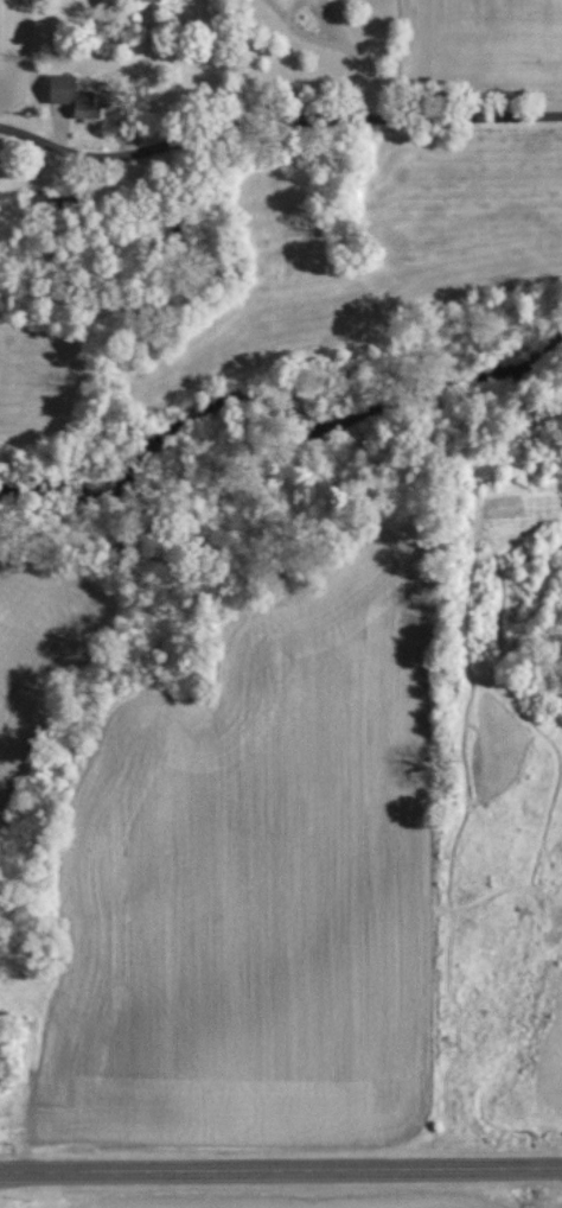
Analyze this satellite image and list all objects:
building: (153, 0)
building: (79, 95)
road: (276, 121)
road: (281, 1171)

